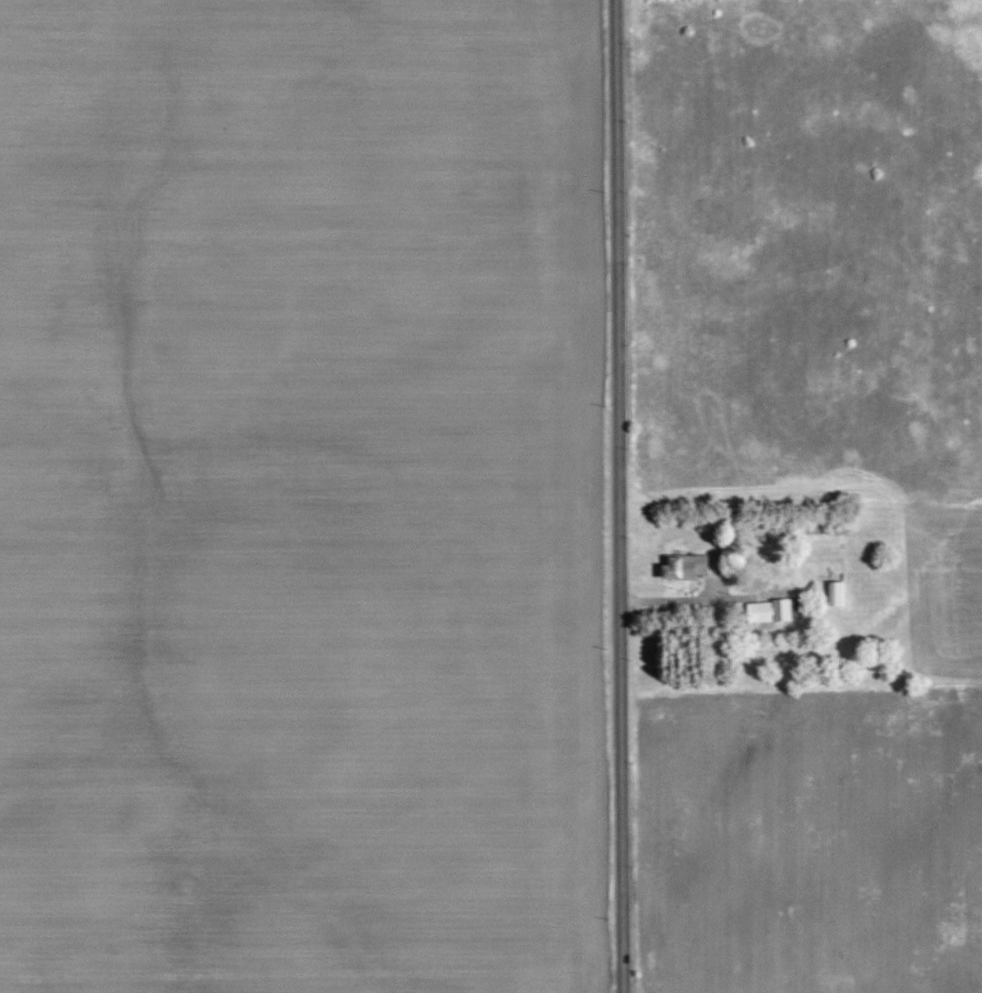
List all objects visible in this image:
road: (618, 496)
building: (715, 559)
building: (685, 567)
building: (836, 594)
building: (774, 611)

